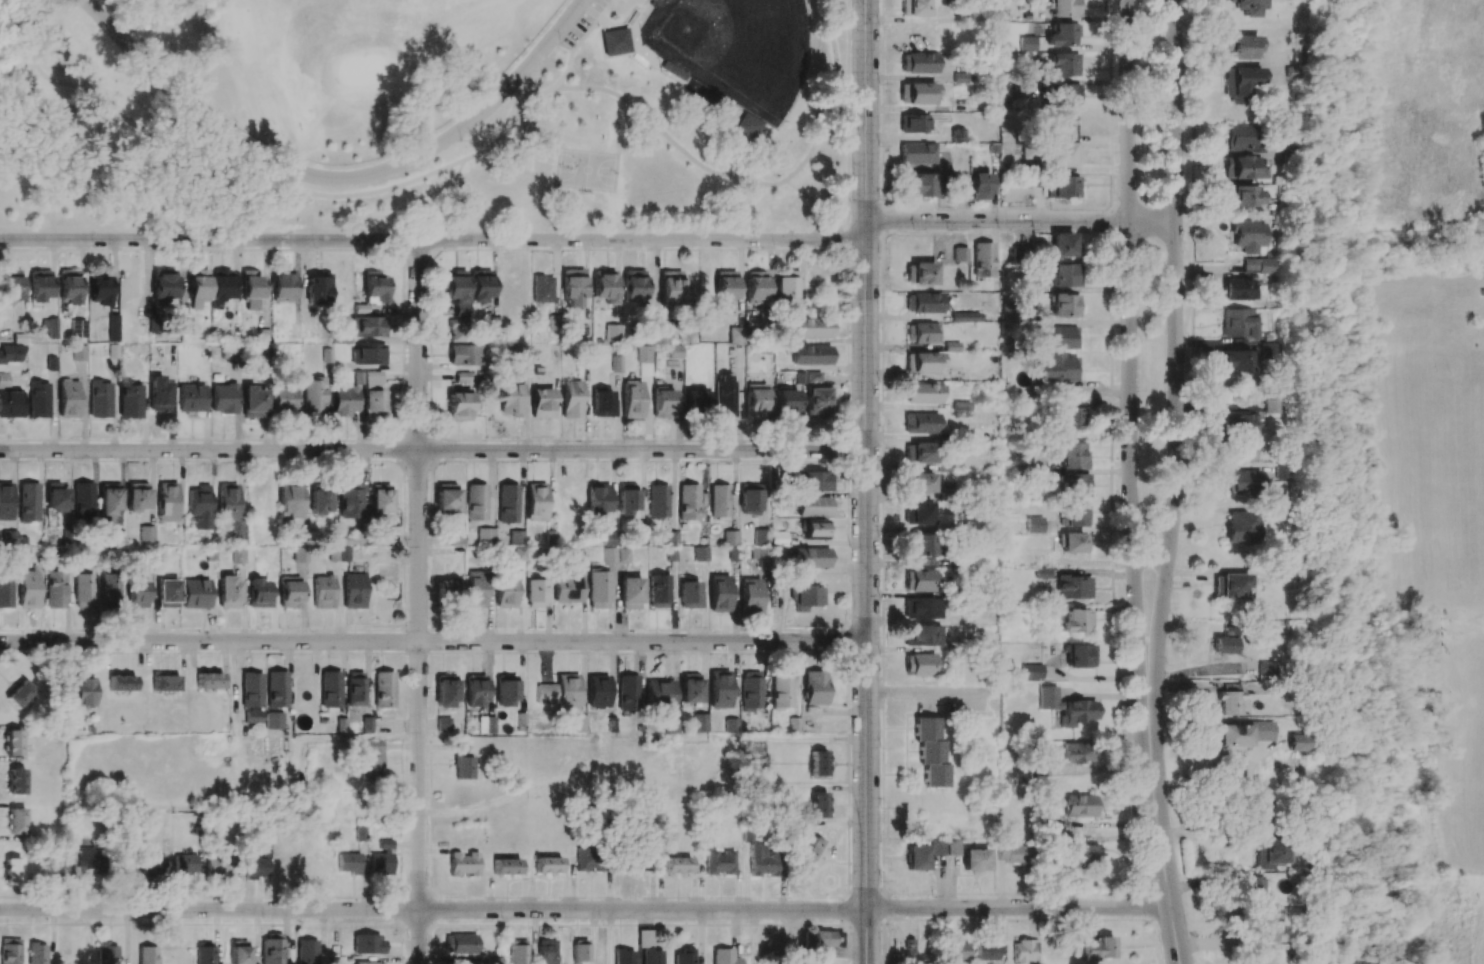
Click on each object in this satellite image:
building: (1248, 7)
building: (914, 8)
building: (1065, 8)
parking lot: (578, 24)
street lamp: (880, 27)
building: (1062, 35)
street lamp: (562, 39)
building: (614, 43)
building: (1027, 44)
building: (1241, 46)
park: (735, 48)
street lamp: (149, 53)
building: (918, 63)
park: (335, 64)
building: (1064, 64)
park: (363, 70)
building: (1240, 83)
building: (1007, 91)
building: (917, 93)
road: (829, 95)
building: (1065, 95)
road: (847, 103)
park: (283, 119)
street lamp: (1137, 119)
street lamp: (1166, 120)
building: (913, 123)
street lamp: (850, 129)
park: (452, 132)
building: (1241, 138)
street lamp: (461, 140)
building: (916, 153)
building: (1063, 155)
road: (701, 166)
building: (1241, 168)
park: (586, 169)
road: (336, 179)
road: (452, 182)
building: (921, 185)
building: (979, 187)
building: (1062, 187)
road: (324, 195)
building: (1241, 197)
street lamp: (880, 198)
road: (856, 206)
road: (847, 218)
road: (1020, 221)
street lamp: (947, 232)
street lamp: (1033, 233)
building: (1247, 235)
road: (433, 239)
road: (1191, 242)
building: (1064, 245)
street lamp: (93, 246)
street lamp: (500, 246)
street lamp: (4, 247)
street lamp: (192, 247)
street lamp: (315, 247)
street lamp: (394, 247)
street lamp: (593, 247)
street lamp: (684, 247)
street lamp: (775, 247)
building: (1018, 252)
building: (959, 254)
building: (982, 260)
street lamp: (1165, 261)
street lamp: (1140, 262)
building: (1256, 265)
building: (920, 274)
building: (1064, 275)
building: (163, 284)
building: (11, 285)
building: (128, 285)
building: (479, 285)
building: (633, 285)
building: (725, 285)
building: (786, 285)
building: (38, 286)
building: (604, 286)
building: (68, 287)
building: (220, 287)
building: (282, 287)
building: (572, 287)
building: (755, 287)
building: (373, 288)
building: (671, 288)
building: (197, 289)
building: (318, 289)
building: (542, 289)
building: (1239, 289)
building: (99, 290)
building: (251, 290)
building: (455, 291)
building: (923, 303)
street lamp: (850, 304)
building: (1064, 306)
building: (1009, 314)
building: (965, 317)
building: (1238, 323)
building: (113, 325)
building: (368, 326)
building: (48, 327)
building: (77, 328)
building: (810, 328)
building: (584, 329)
building: (456, 330)
building: (310, 331)
building: (922, 333)
building: (735, 335)
building: (263, 336)
building: (661, 336)
building: (1056, 338)
road: (1129, 345)
road: (1176, 345)
building: (230, 352)
building: (1268, 352)
building: (79, 353)
building: (11, 354)
building: (368, 354)
building: (464, 355)
building: (811, 355)
building: (644, 360)
building: (1235, 361)
building: (921, 363)
building: (616, 364)
building: (1058, 369)
building: (813, 377)
building: (4, 381)
street lamp: (1139, 388)
street lamp: (1165, 392)
building: (922, 393)
building: (158, 394)
building: (68, 395)
building: (373, 395)
building: (723, 396)
building: (313, 397)
building: (190, 398)
building: (223, 398)
building: (99, 399)
building: (571, 399)
building: (631, 399)
building: (38, 400)
building: (129, 400)
building: (284, 400)
building: (511, 400)
building: (755, 400)
building: (345, 401)
building: (695, 401)
building: (786, 401)
building: (253, 402)
building: (817, 402)
building: (542, 403)
building: (603, 403)
building: (662, 403)
building: (11, 404)
building: (458, 406)
building: (1268, 406)
building: (1071, 415)
building: (920, 423)
building: (1234, 424)
road: (432, 452)
building: (1243, 452)
building: (918, 453)
building: (1072, 456)
building: (1278, 472)
park: (1433, 478)
building: (814, 481)
building: (1240, 481)
road: (866, 482)
building: (918, 482)
building: (1074, 485)
building: (137, 497)
building: (55, 498)
building: (446, 498)
building: (598, 499)
building: (627, 499)
building: (750, 499)
building: (379, 500)
building: (658, 500)
building: (5, 501)
building: (290, 501)
building: (350, 501)
building: (28, 502)
building: (83, 502)
building: (108, 502)
building: (166, 502)
building: (320, 502)
building: (476, 502)
building: (535, 502)
building: (688, 502)
building: (719, 502)
building: (508, 504)
building: (199, 507)
building: (813, 507)
building: (230, 509)
building: (918, 514)
building: (1074, 515)
building: (1033, 525)
building: (1239, 527)
building: (814, 529)
street lamp: (1140, 529)
street lamp: (1160, 531)
building: (146, 534)
building: (486, 536)
building: (456, 537)
building: (516, 537)
building: (761, 537)
building: (9, 538)
building: (116, 538)
building: (366, 538)
building: (609, 538)
building: (731, 538)
building: (778, 538)
building: (1074, 543)
building: (919, 545)
building: (339, 554)
building: (701, 554)
building: (609, 555)
building: (622, 555)
building: (760, 555)
building: (238, 556)
building: (810, 557)
road: (1151, 557)
building: (919, 580)
building: (1229, 586)
building: (1073, 587)
building: (447, 588)
building: (27, 589)
building: (55, 589)
building: (110, 589)
building: (475, 589)
building: (567, 589)
building: (598, 589)
building: (5, 590)
building: (83, 590)
building: (227, 591)
building: (353, 591)
building: (658, 591)
building: (289, 592)
building: (322, 592)
building: (505, 592)
building: (137, 593)
building: (167, 593)
building: (195, 593)
building: (535, 593)
building: (629, 593)
building: (719, 593)
building: (259, 594)
building: (690, 595)
building: (750, 596)
building: (807, 597)
road: (419, 601)
building: (922, 608)
building: (1077, 620)
building: (922, 635)
road: (432, 643)
building: (1223, 645)
building: (1083, 656)
building: (920, 665)
street lamp: (1167, 665)
building: (1266, 668)
building: (208, 680)
building: (121, 683)
building: (165, 683)
building: (690, 688)
building: (814, 688)
building: (276, 689)
building: (330, 689)
building: (355, 689)
building: (719, 689)
building: (251, 690)
building: (383, 690)
building: (445, 690)
building: (475, 690)
building: (506, 690)
building: (781, 690)
building: (597, 691)
building: (751, 691)
building: (80, 692)
building: (560, 692)
building: (627, 693)
building: (659, 693)
road: (923, 693)
building: (19, 694)
building: (1229, 699)
building: (1066, 706)
building: (252, 716)
building: (273, 720)
building: (700, 723)
building: (443, 724)
building: (486, 724)
building: (579, 724)
building: (670, 726)
building: (1233, 736)
road: (803, 739)
building: (12, 743)
building: (1296, 743)
building: (930, 752)
park: (1470, 752)
building: (1077, 753)
building: (370, 761)
building: (462, 762)
park: (642, 763)
building: (818, 763)
road: (270, 765)
park: (194, 769)
street lamp: (1167, 779)
building: (16, 781)
building: (818, 805)
building: (1079, 806)
building: (1258, 813)
building: (16, 821)
road: (1157, 827)
road: (1208, 835)
building: (937, 847)
building: (812, 852)
building: (1013, 853)
building: (1271, 853)
building: (382, 858)
building: (916, 858)
building: (589, 859)
building: (637, 859)
building: (975, 860)
building: (88, 862)
building: (719, 862)
building: (762, 862)
building: (348, 863)
building: (463, 864)
building: (547, 865)
building: (677, 865)
building: (185, 866)
building: (218, 866)
building: (255, 866)
building: (506, 866)
building: (126, 867)
building: (153, 867)
building: (12, 871)
street lamp: (1149, 880)
building: (1252, 889)
road: (1017, 907)
road: (433, 910)
building: (1263, 926)
road: (753, 937)
building: (819, 939)
building: (836, 939)
building: (367, 944)
building: (459, 944)
building: (271, 949)
building: (1097, 949)
building: (957, 950)
building: (10, 951)
building: (306, 951)
building: (580, 951)
building: (985, 951)
building: (1024, 951)
building: (238, 952)
building: (517, 952)
building: (546, 952)
building: (37, 953)
building: (108, 953)
building: (204, 953)
building: (912, 953)
building: (148, 955)
building: (623, 956)
building: (652, 956)
building: (683, 957)
building: (724, 957)
building: (462, 962)
building: (367, 963)

